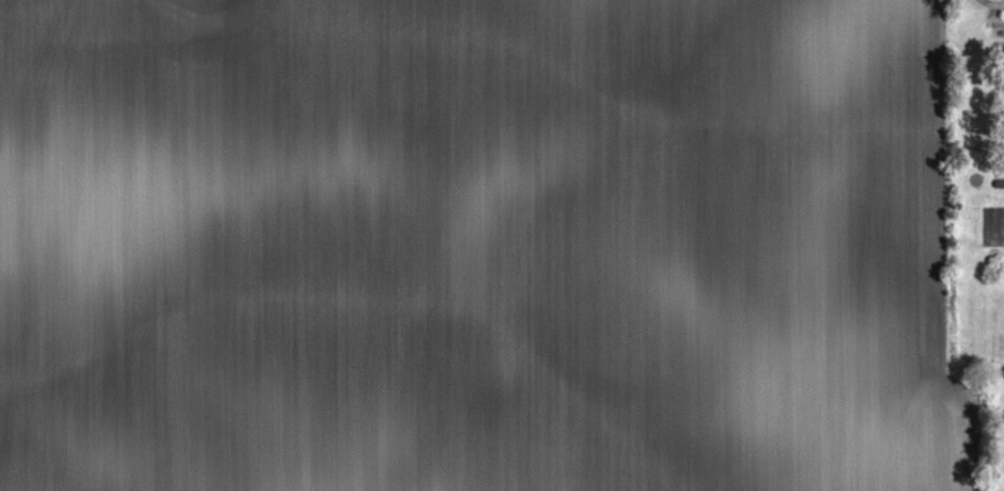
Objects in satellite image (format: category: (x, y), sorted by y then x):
road: (993, 2)

